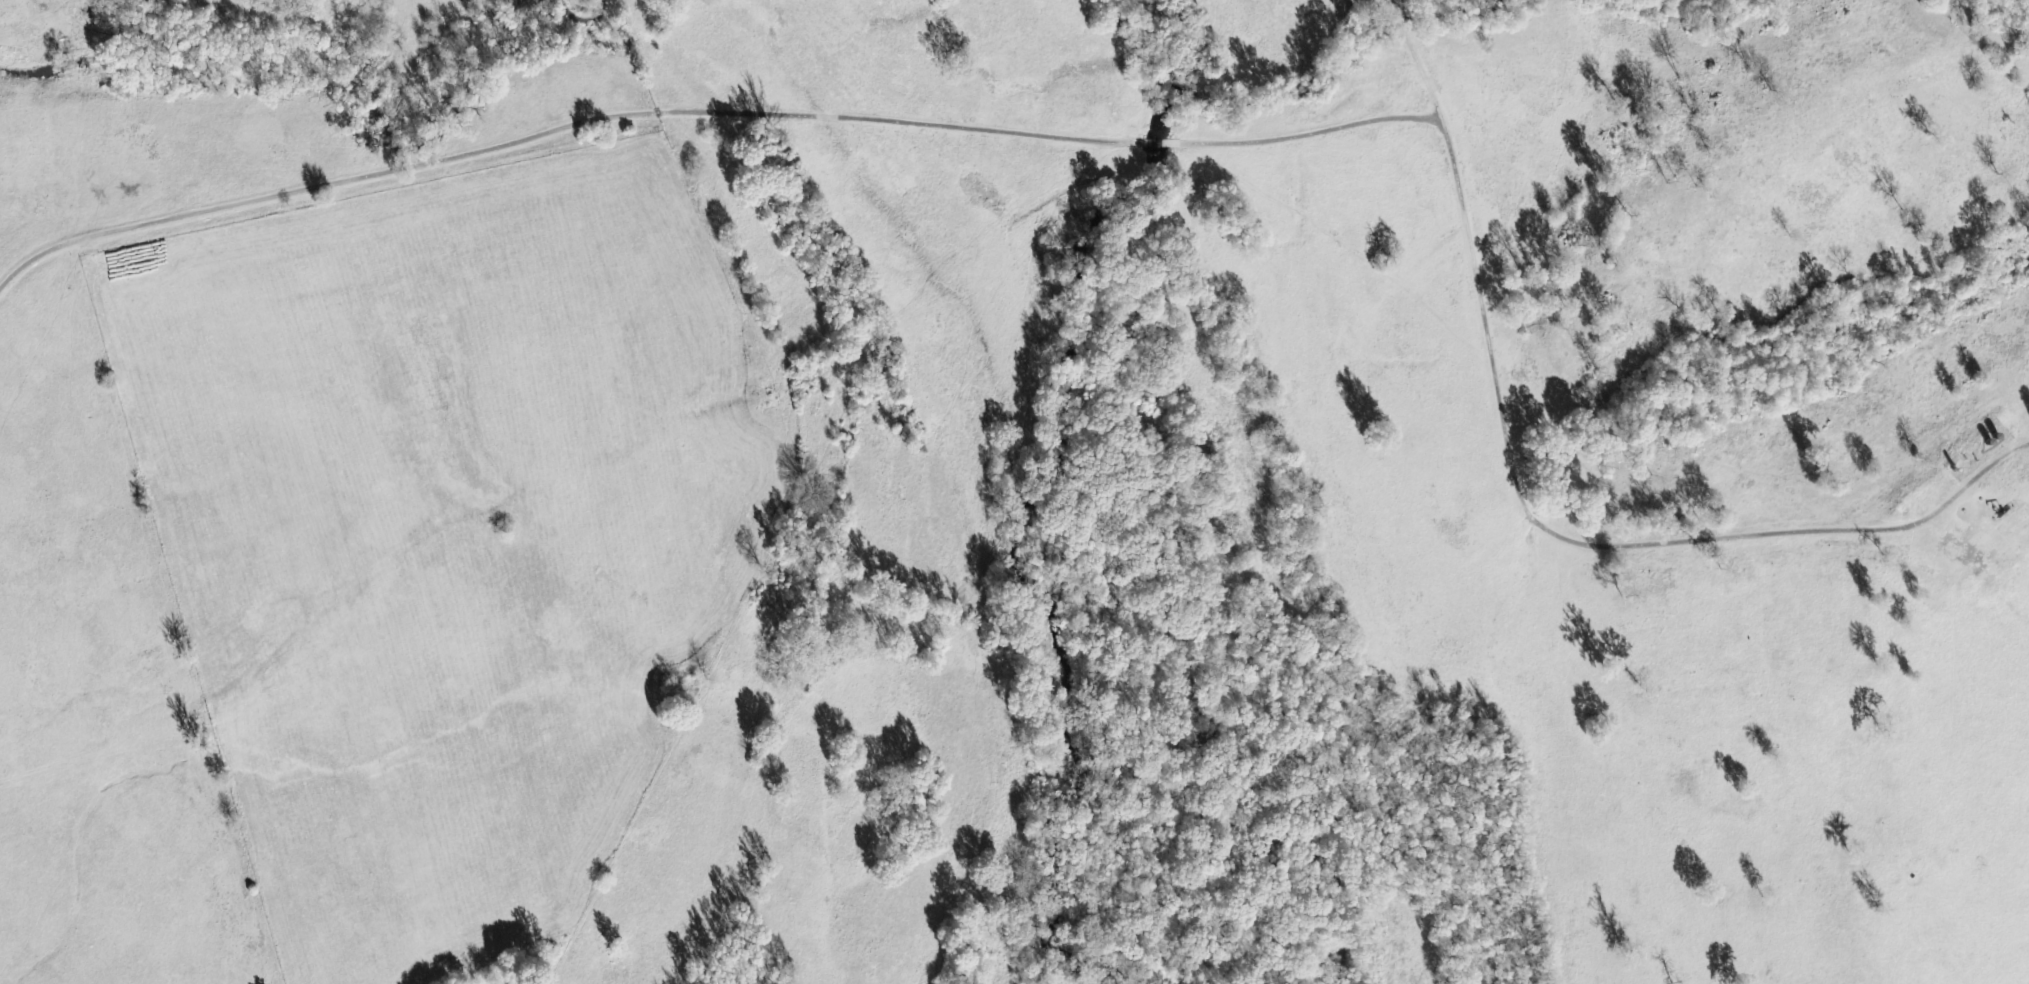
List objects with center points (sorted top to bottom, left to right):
road: (586, 122)

